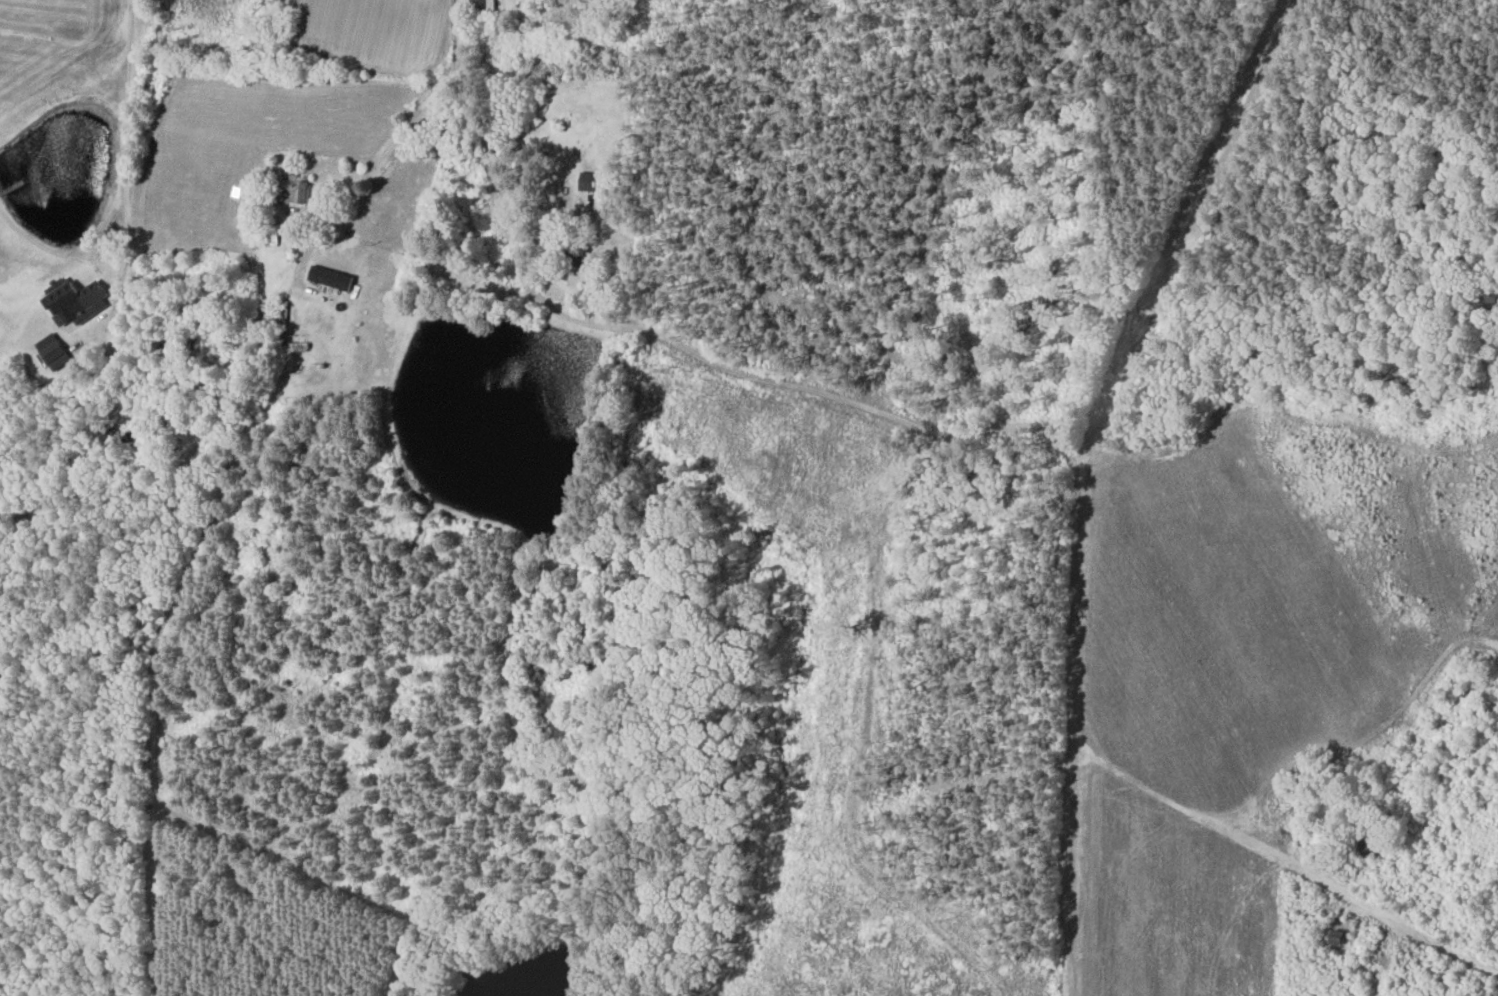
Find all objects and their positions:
building: (485, 6)
road: (128, 81)
road: (396, 138)
building: (594, 181)
building: (297, 189)
road: (108, 267)
building: (334, 277)
building: (79, 299)
building: (55, 352)
road: (796, 383)
road: (1282, 854)

